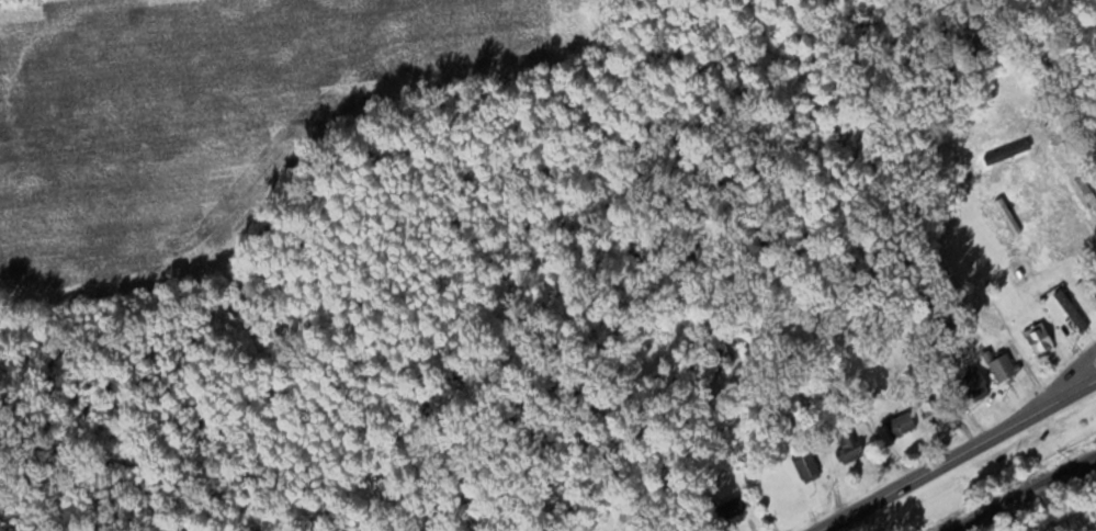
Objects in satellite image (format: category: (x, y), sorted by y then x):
building: (1002, 157)
building: (1086, 193)
road: (1082, 208)
building: (1007, 217)
building: (1087, 294)
building: (1071, 310)
building: (1039, 341)
building: (1002, 366)
road: (885, 369)
road: (1072, 377)
building: (974, 386)
building: (934, 411)
building: (900, 427)
building: (848, 445)
road: (958, 455)
building: (806, 467)
railway: (1027, 495)
road: (1053, 507)
building: (732, 509)

